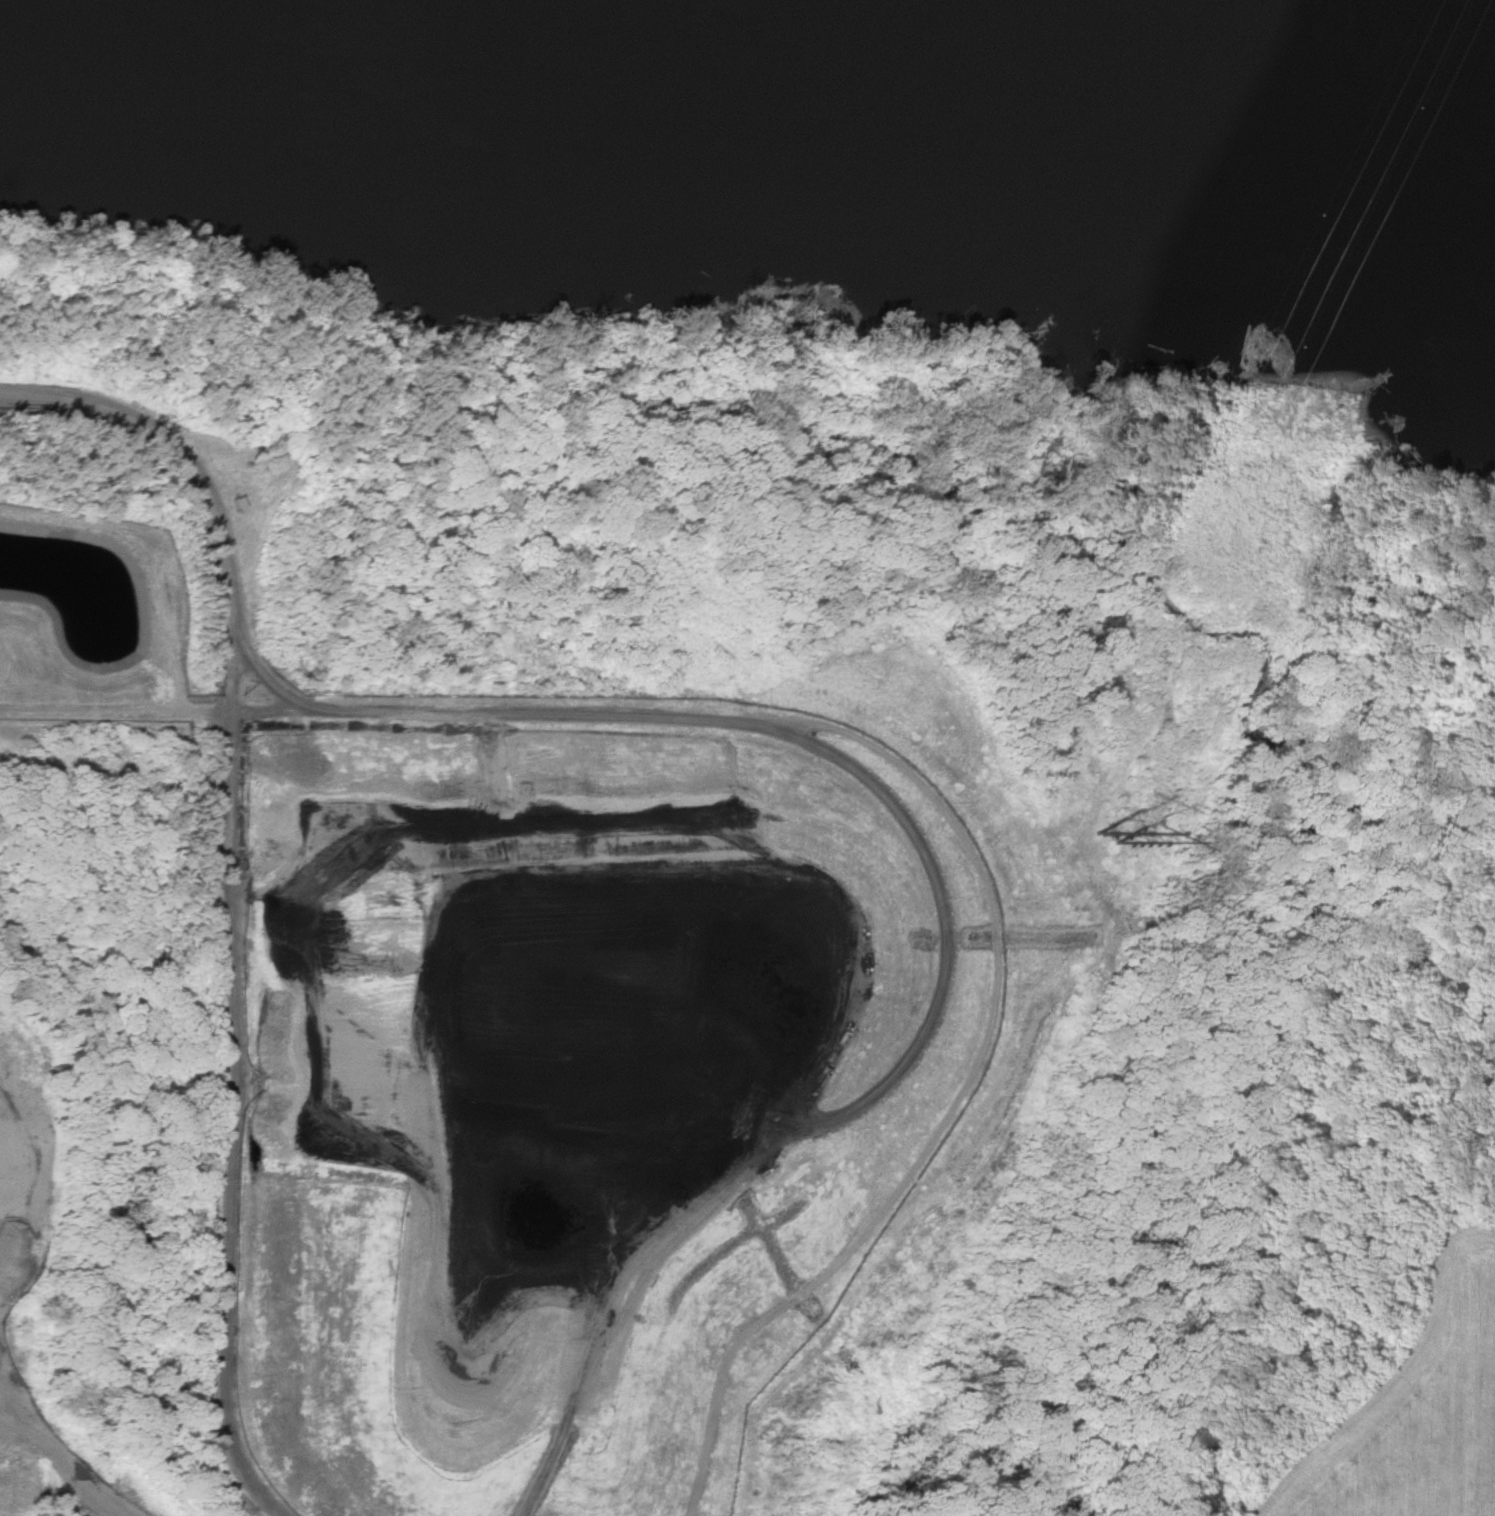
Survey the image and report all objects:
river: (1263, 22)
road: (139, 557)
road: (125, 705)
power tower: (1100, 836)
road: (965, 853)
road: (238, 894)
crop: (23, 1276)
crop: (1410, 1399)
crop: (59, 1508)

